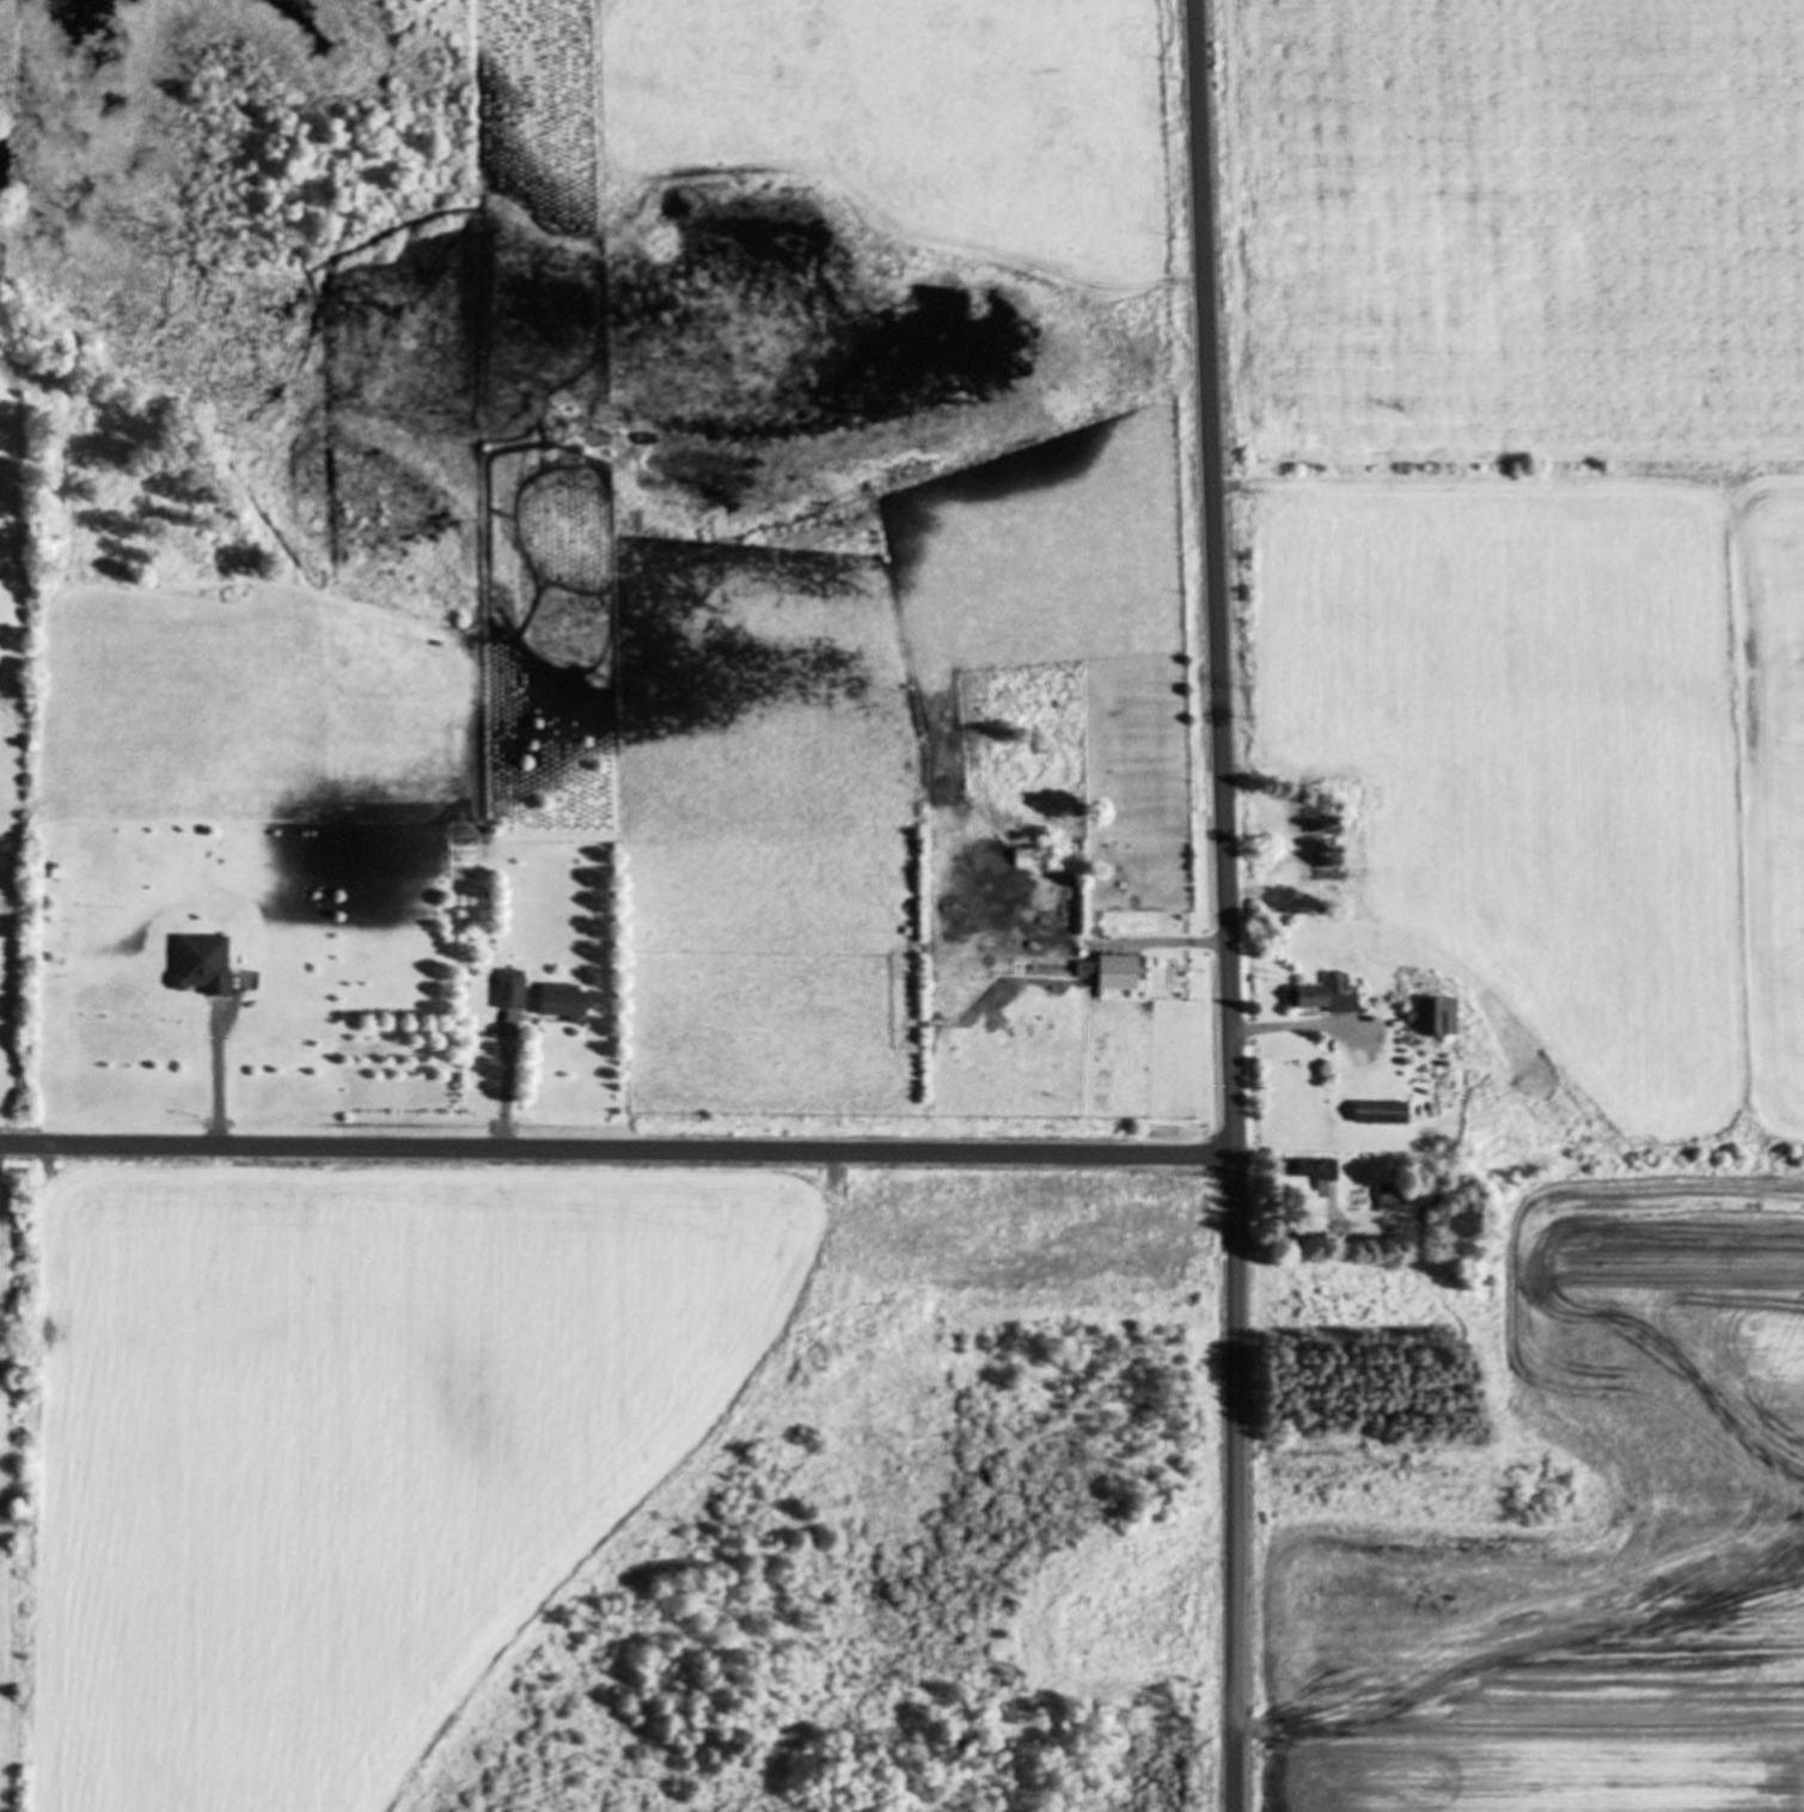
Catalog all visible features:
building: (1027, 858)
building: (1354, 879)
road: (1225, 905)
road: (1166, 942)
building: (207, 964)
building: (1118, 971)
building: (514, 990)
building: (1325, 993)
building: (567, 1003)
building: (1437, 1017)
road: (1288, 1026)
road: (218, 1087)
road: (506, 1092)
building: (1388, 1111)
road: (617, 1149)
building: (1315, 1172)
building: (1393, 1194)
road: (1283, 1238)

